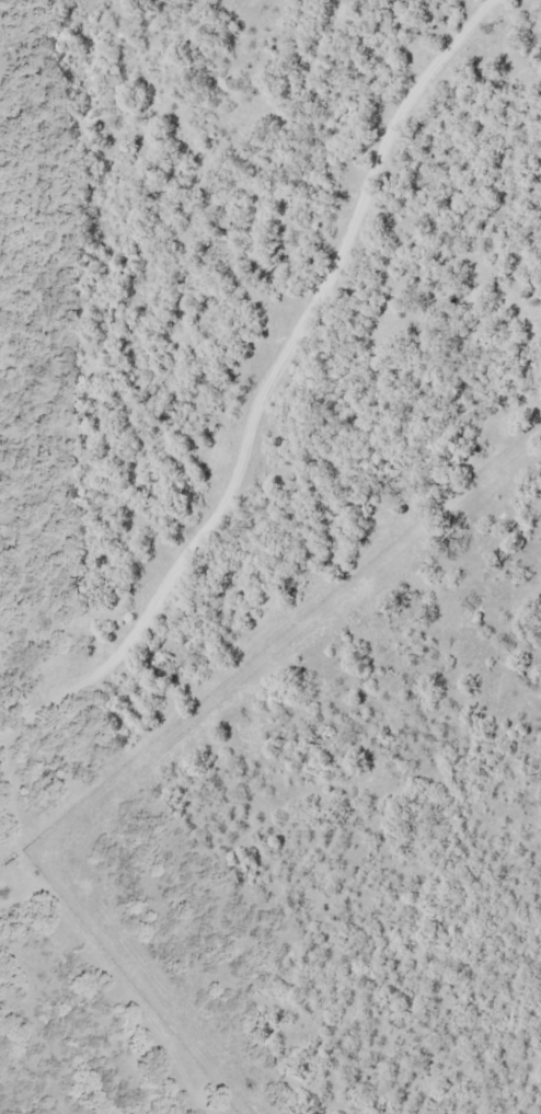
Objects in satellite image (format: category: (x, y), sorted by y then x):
road: (268, 389)

